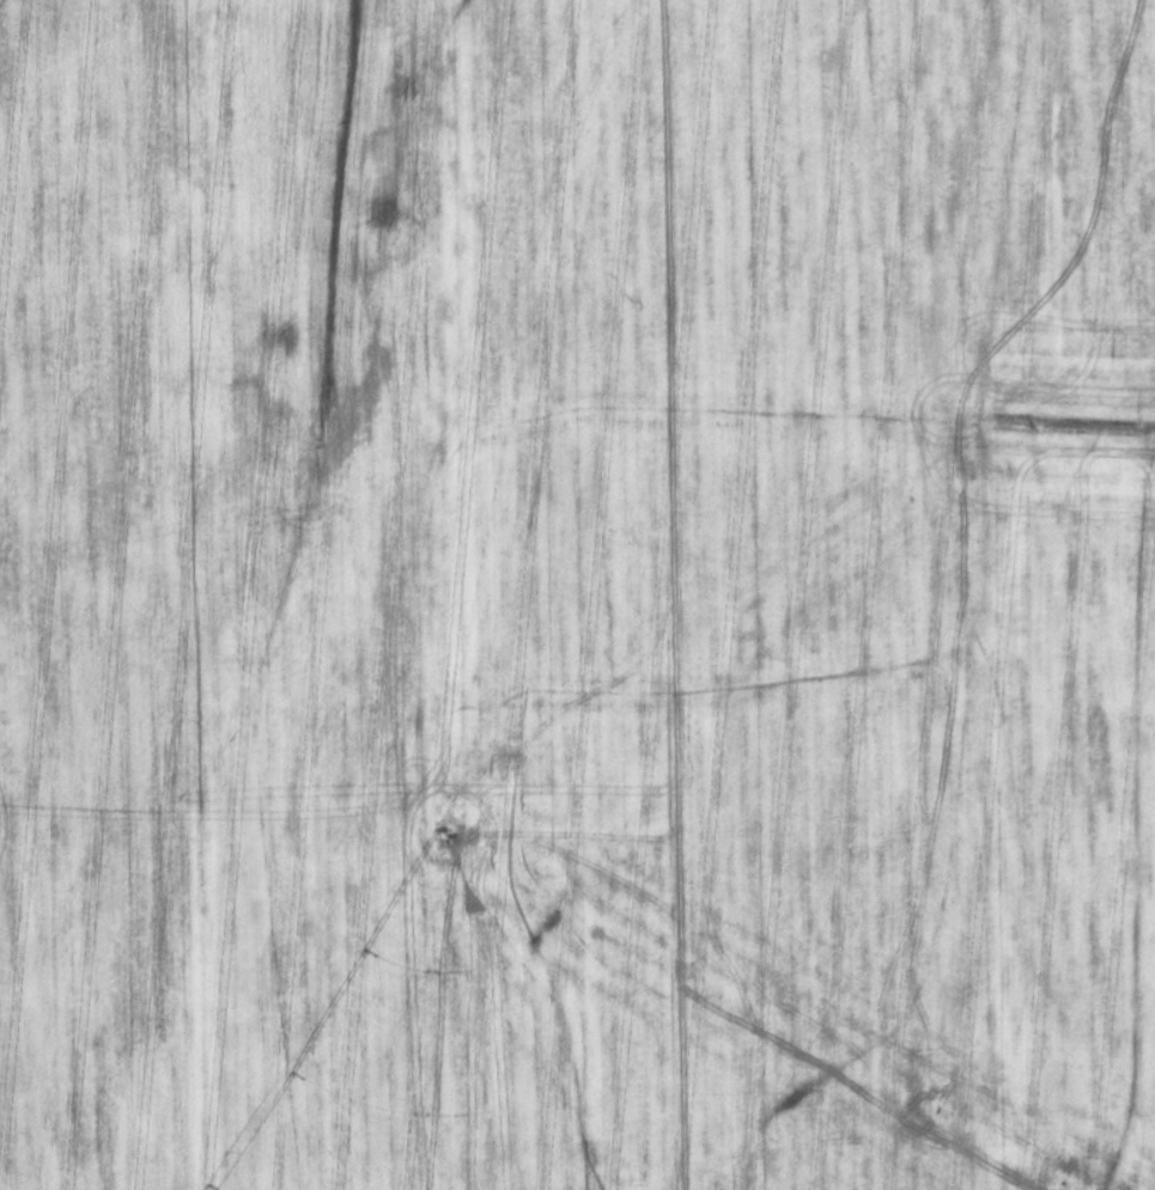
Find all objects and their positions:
road: (679, 594)

